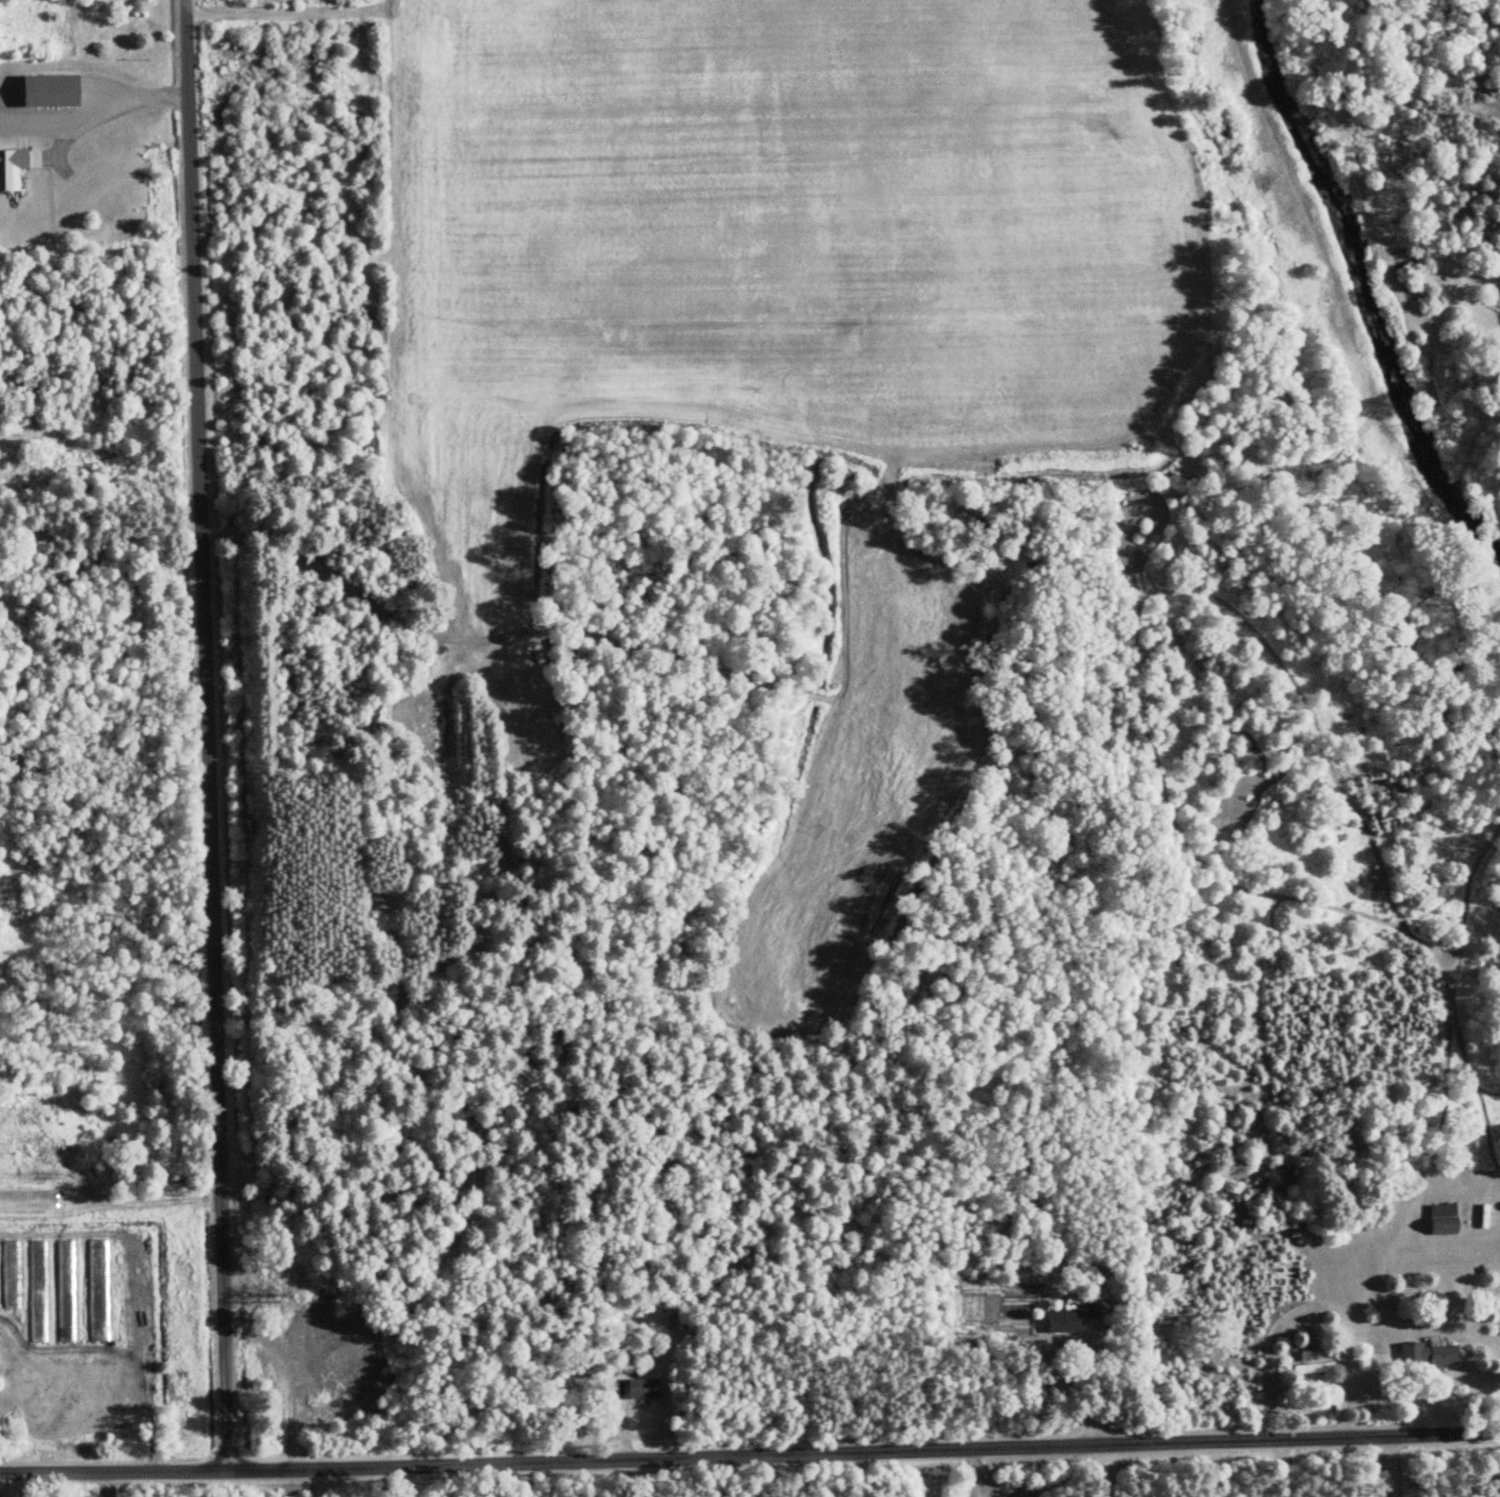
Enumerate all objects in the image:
building: (53, 90)
road: (104, 102)
building: (12, 168)
road: (204, 736)
building: (29, 1200)
building: (1438, 1219)
building: (13, 1275)
building: (102, 1290)
building: (69, 1291)
road: (1305, 1305)
building: (1093, 1307)
building: (1066, 1320)
building: (1429, 1354)
building: (1313, 1368)
road: (1048, 1383)
building: (319, 1389)
building: (644, 1389)
road: (750, 1456)
road: (1383, 1466)
road: (1280, 1468)
road: (1095, 1471)
road: (970, 1473)
road: (106, 1483)

